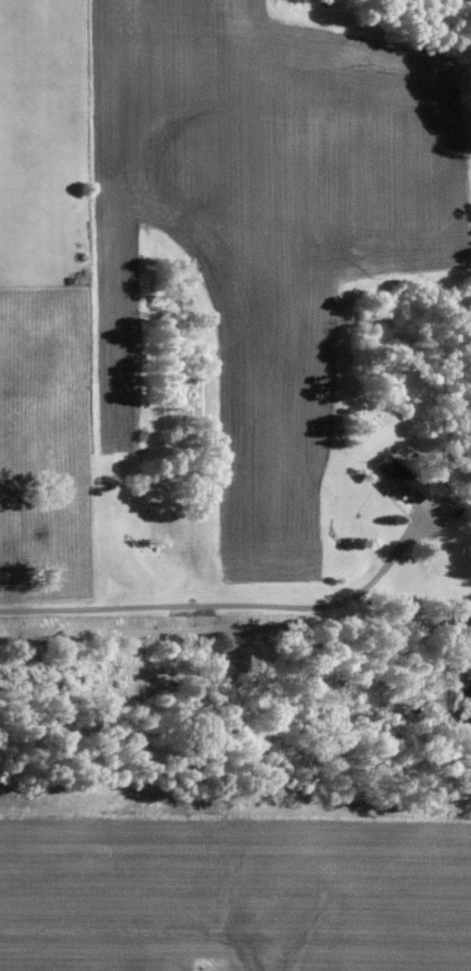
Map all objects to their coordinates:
building: (398, 481)
road: (234, 607)
road: (235, 630)

